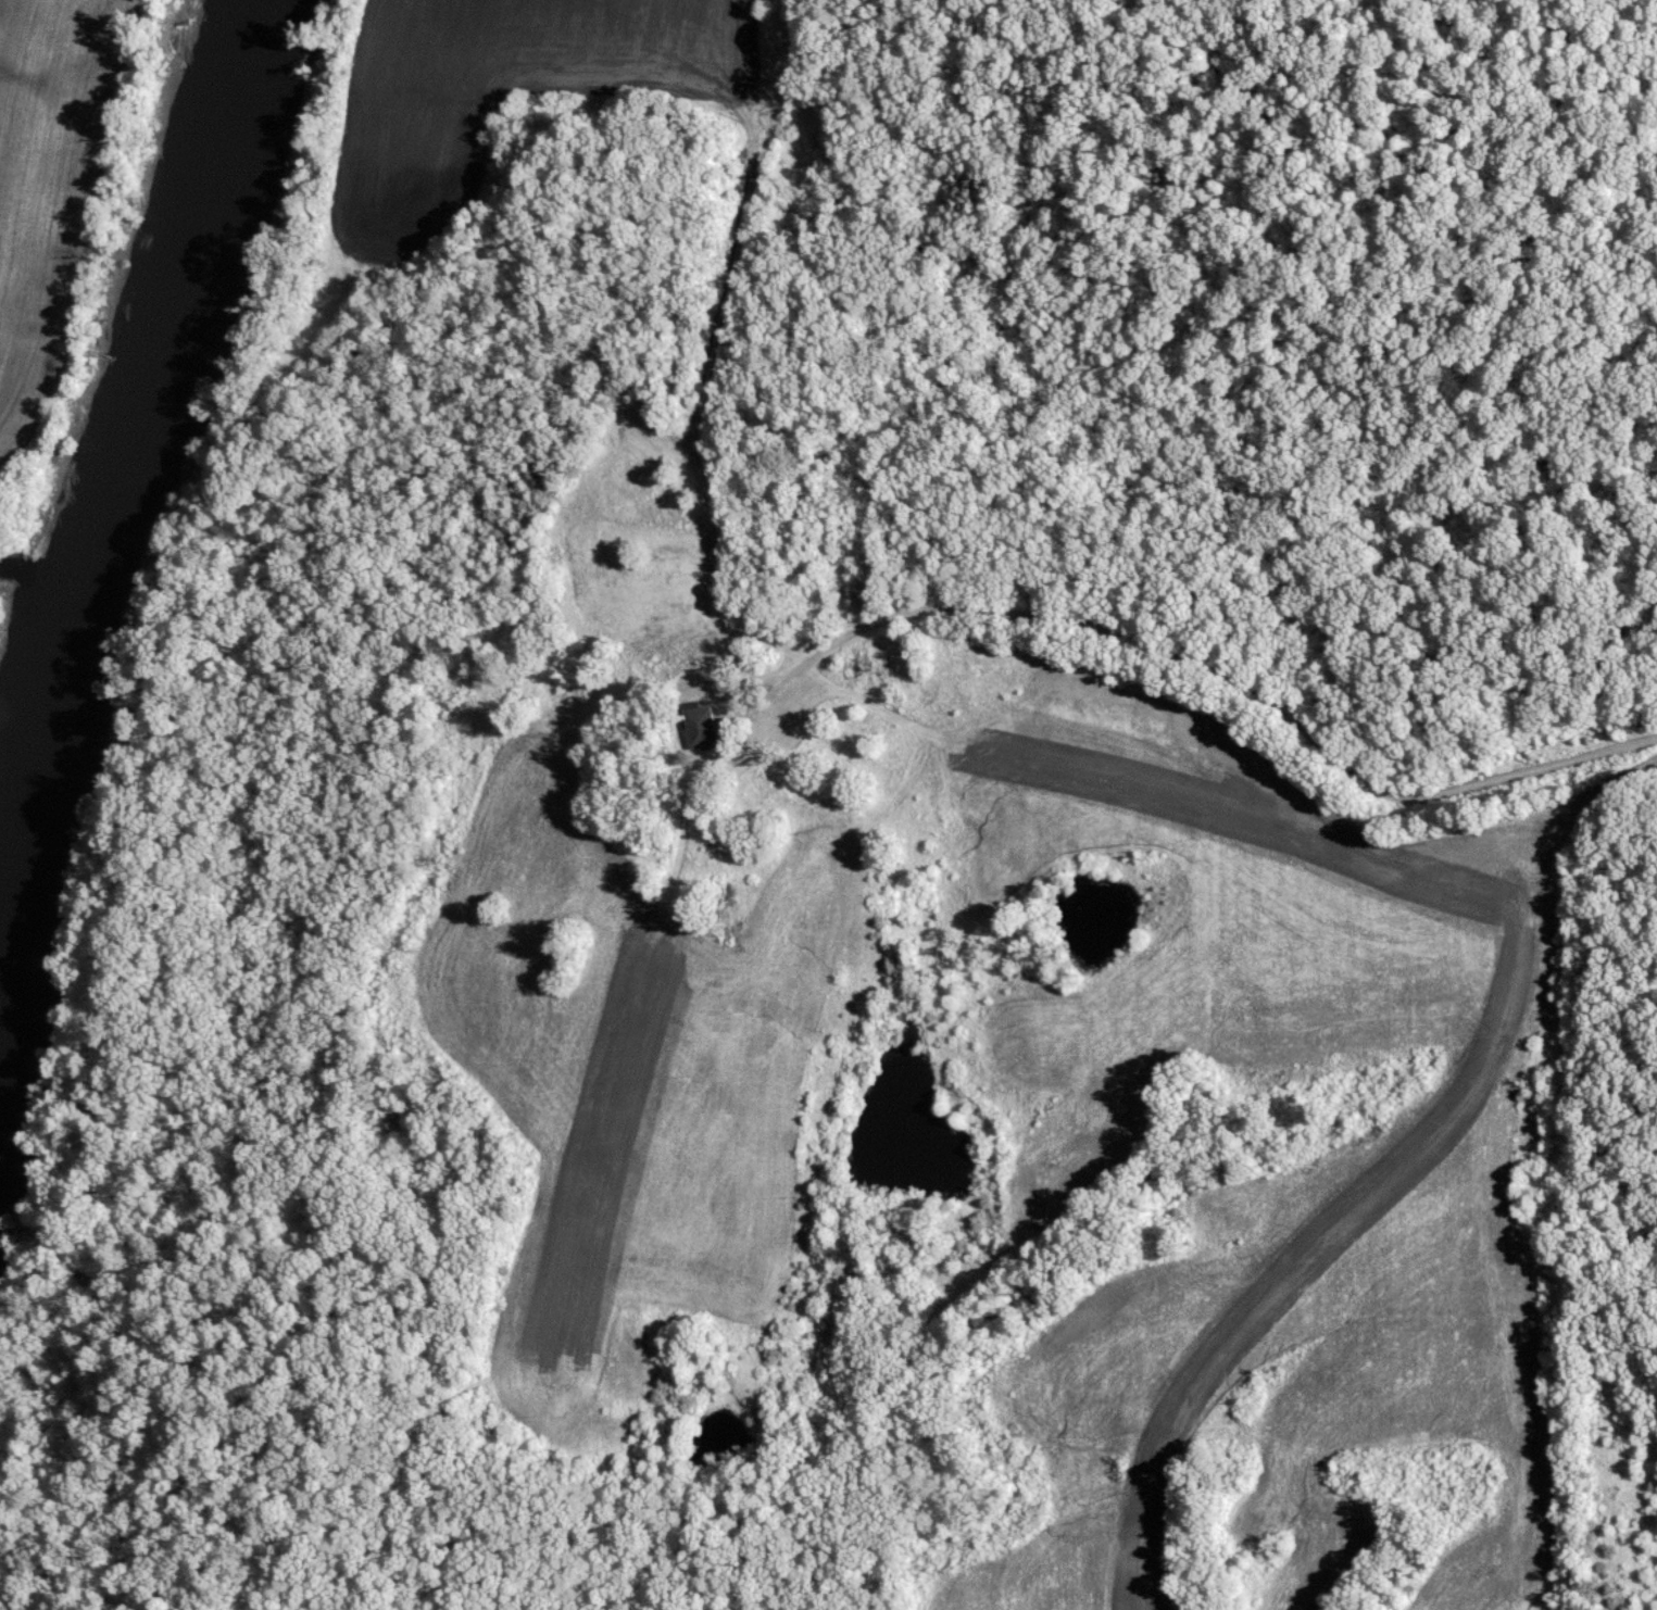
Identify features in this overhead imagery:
river: (136, 534)
road: (1293, 724)
building: (701, 730)

